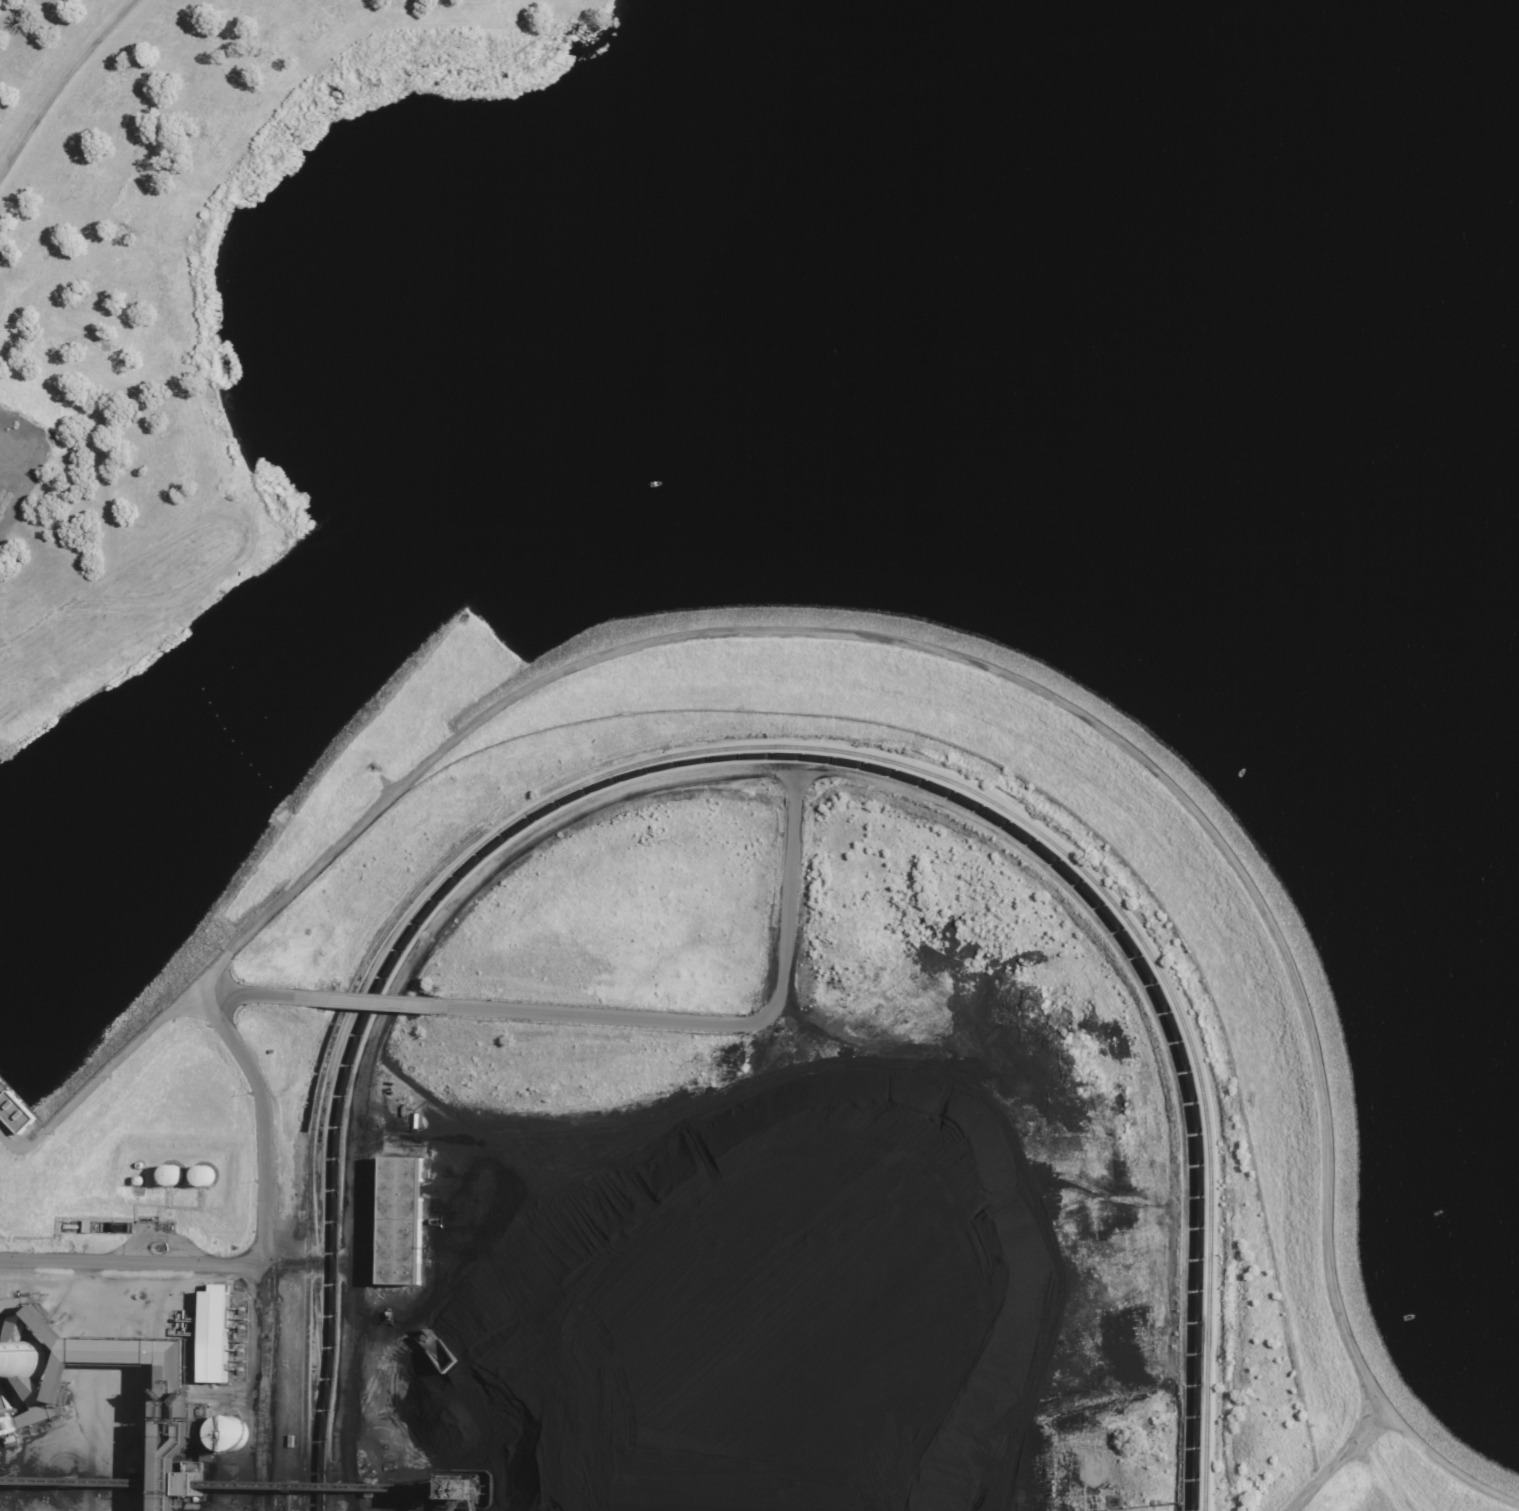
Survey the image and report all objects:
road: (58, 83)
road: (907, 643)
railway: (769, 747)
railway: (815, 758)
road: (264, 1116)
power plant: (718, 1120)
railway: (313, 1149)
road: (275, 1161)
building: (164, 1177)
building: (196, 1178)
building: (395, 1222)
road: (131, 1258)
railway: (317, 1275)
building: (208, 1337)
chimney: (41, 1360)
building: (23, 1373)
building: (215, 1436)
building: (148, 1440)
road: (1438, 1457)
road: (1382, 1476)
dam: (1504, 1505)

